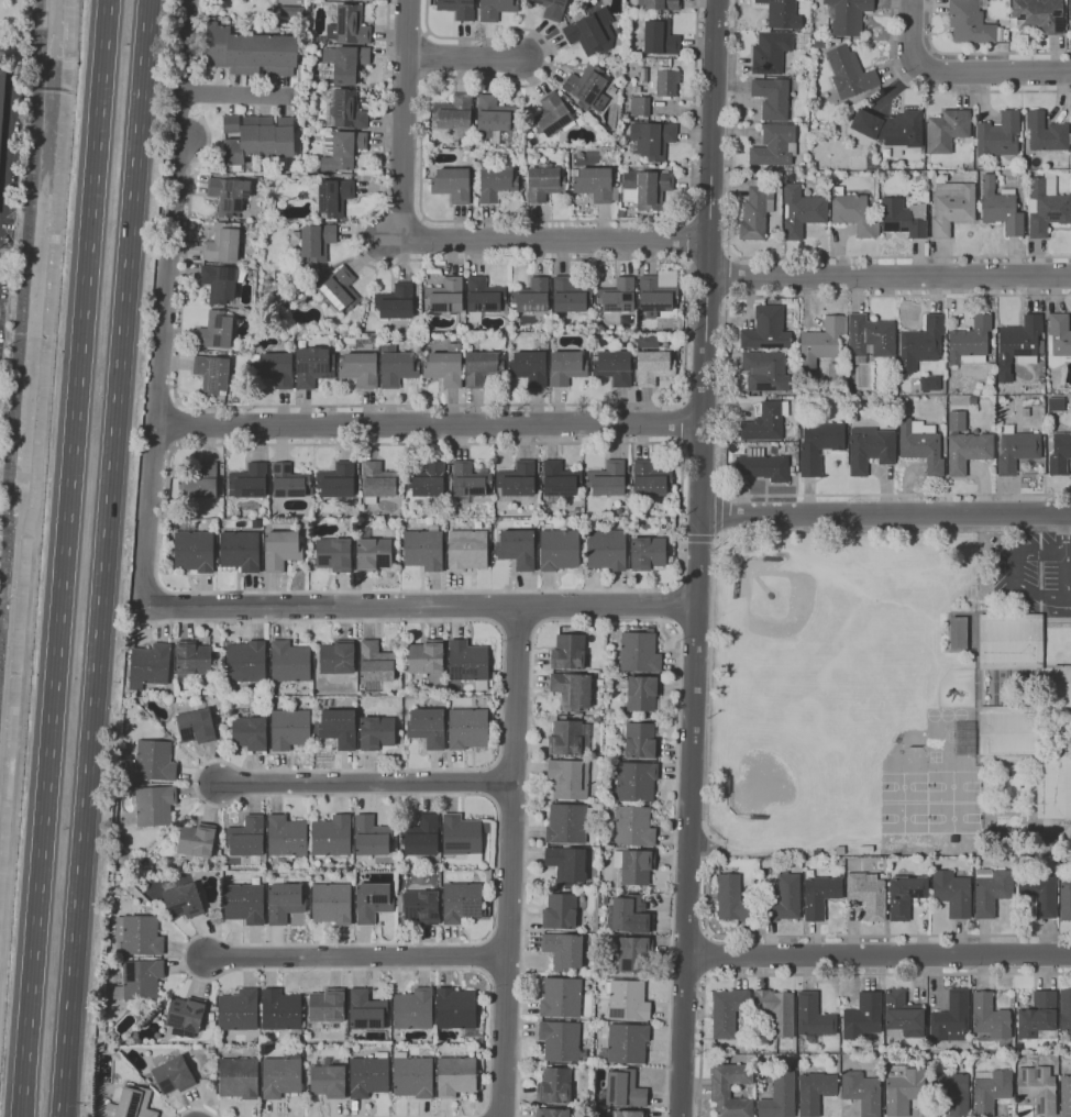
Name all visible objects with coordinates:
building: (363, 0)
building: (659, 4)
building: (457, 8)
building: (497, 9)
building: (552, 9)
building: (1070, 10)
building: (782, 13)
building: (847, 15)
building: (1037, 16)
building: (971, 22)
building: (349, 25)
park: (16, 32)
building: (592, 32)
building: (815, 33)
building: (1005, 35)
building: (660, 37)
building: (817, 43)
building: (250, 52)
building: (771, 52)
road: (976, 53)
road: (192, 56)
road: (462, 56)
building: (344, 63)
building: (849, 73)
road: (960, 73)
building: (641, 74)
building: (666, 84)
building: (587, 87)
road: (943, 91)
road: (238, 96)
building: (2, 98)
building: (772, 99)
building: (639, 106)
building: (345, 110)
building: (455, 114)
building: (551, 114)
building: (494, 118)
road: (404, 120)
building: (231, 124)
building: (890, 128)
building: (948, 130)
building: (1046, 133)
building: (996, 139)
building: (260, 140)
building: (652, 140)
road: (4, 145)
building: (774, 146)
building: (342, 150)
building: (883, 176)
building: (452, 184)
building: (496, 184)
building: (544, 184)
building: (596, 184)
building: (644, 186)
building: (228, 195)
building: (332, 197)
building: (1046, 206)
building: (1001, 207)
building: (951, 208)
building: (757, 210)
building: (802, 211)
building: (853, 213)
building: (904, 218)
road: (437, 220)
road: (685, 237)
building: (317, 241)
road: (555, 241)
building: (222, 243)
road: (773, 257)
road: (729, 275)
building: (312, 276)
road: (885, 277)
building: (220, 283)
building: (340, 290)
building: (570, 295)
building: (617, 295)
building: (445, 296)
building: (532, 296)
building: (654, 297)
building: (484, 298)
building: (285, 300)
building: (321, 300)
building: (396, 301)
building: (216, 330)
building: (766, 330)
building: (869, 338)
building: (1058, 340)
building: (648, 341)
building: (821, 342)
building: (970, 342)
building: (920, 345)
building: (1017, 345)
building: (1041, 347)
road: (159, 355)
building: (312, 366)
building: (445, 366)
building: (614, 366)
building: (396, 367)
building: (481, 367)
building: (529, 367)
building: (566, 367)
building: (654, 367)
building: (991, 367)
building: (273, 368)
building: (360, 368)
building: (765, 371)
building: (836, 371)
building: (212, 374)
building: (930, 383)
road: (724, 398)
building: (901, 400)
building: (972, 400)
road: (643, 403)
building: (1056, 403)
building: (1025, 411)
building: (957, 421)
building: (765, 422)
road: (681, 423)
road: (428, 424)
building: (819, 444)
building: (921, 444)
building: (870, 449)
building: (1016, 450)
building: (968, 451)
building: (1060, 454)
building: (796, 457)
building: (763, 465)
building: (607, 478)
building: (650, 478)
building: (517, 479)
building: (200, 480)
building: (249, 480)
building: (429, 480)
building: (290, 482)
building: (378, 482)
building: (468, 482)
building: (559, 482)
building: (338, 483)
road: (681, 507)
road: (884, 513)
road: (735, 530)
road: (698, 538)
building: (517, 548)
building: (192, 549)
building: (424, 549)
building: (560, 549)
building: (240, 550)
building: (280, 550)
building: (467, 550)
building: (606, 550)
building: (372, 552)
building: (648, 553)
building: (333, 555)
road: (1015, 555)
road: (103, 557)
road: (698, 557)
road: (64, 558)
parking lot: (1033, 572)
park: (904, 579)
road: (1064, 579)
road: (674, 604)
road: (420, 607)
road: (607, 620)
park: (798, 624)
road: (518, 631)
building: (958, 631)
building: (1011, 641)
building: (568, 652)
building: (640, 652)
building: (336, 657)
building: (426, 659)
building: (192, 660)
building: (289, 661)
building: (467, 661)
building: (246, 662)
building: (376, 662)
building: (150, 665)
building: (1059, 685)
building: (574, 687)
building: (639, 693)
park: (862, 706)
building: (196, 725)
building: (219, 725)
building: (427, 727)
building: (339, 728)
building: (467, 728)
building: (289, 729)
building: (221, 731)
building: (376, 732)
building: (250, 733)
building: (568, 738)
building: (641, 741)
building: (1027, 754)
building: (154, 761)
park: (783, 763)
building: (568, 778)
road: (366, 781)
building: (636, 781)
road: (434, 794)
building: (154, 805)
building: (567, 823)
building: (633, 826)
building: (421, 836)
building: (463, 836)
building: (332, 837)
building: (372, 837)
building: (246, 838)
building: (287, 838)
building: (197, 842)
building: (866, 849)
building: (817, 852)
road: (509, 861)
building: (566, 863)
building: (634, 865)
building: (991, 889)
building: (819, 893)
building: (952, 893)
building: (1040, 893)
building: (614, 894)
building: (868, 894)
building: (905, 895)
building: (784, 899)
building: (1066, 899)
building: (184, 900)
building: (284, 900)
building: (733, 900)
building: (373, 902)
building: (462, 902)
building: (331, 903)
building: (245, 904)
building: (421, 907)
building: (560, 911)
building: (628, 915)
building: (139, 936)
road: (853, 936)
building: (563, 950)
building: (633, 953)
road: (709, 955)
road: (357, 956)
road: (877, 956)
road: (819, 974)
building: (140, 980)
building: (561, 997)
building: (628, 1000)
building: (328, 1005)
building: (239, 1009)
building: (280, 1009)
building: (366, 1009)
building: (413, 1009)
building: (1066, 1009)
building: (777, 1010)
building: (457, 1011)
building: (727, 1011)
building: (186, 1014)
building: (903, 1015)
building: (1038, 1015)
building: (211, 1016)
building: (990, 1016)
building: (813, 1017)
building: (862, 1017)
building: (950, 1018)
building: (211, 1025)
building: (101, 1029)
building: (561, 1040)
building: (626, 1044)
building: (1017, 1047)
building: (210, 1048)
building: (210, 1055)
building: (174, 1075)
building: (281, 1075)
building: (368, 1075)
building: (412, 1075)
building: (455, 1076)
building: (239, 1077)
building: (328, 1080)
building: (147, 1081)
building: (1036, 1084)
building: (554, 1085)
building: (622, 1090)
building: (903, 1090)
building: (720, 1091)
building: (951, 1091)
building: (991, 1091)
building: (815, 1092)
building: (862, 1092)
building: (1066, 1096)
building: (780, 1097)
building: (131, 1104)
road: (199, 1108)
building: (556, 1113)
building: (628, 1114)

